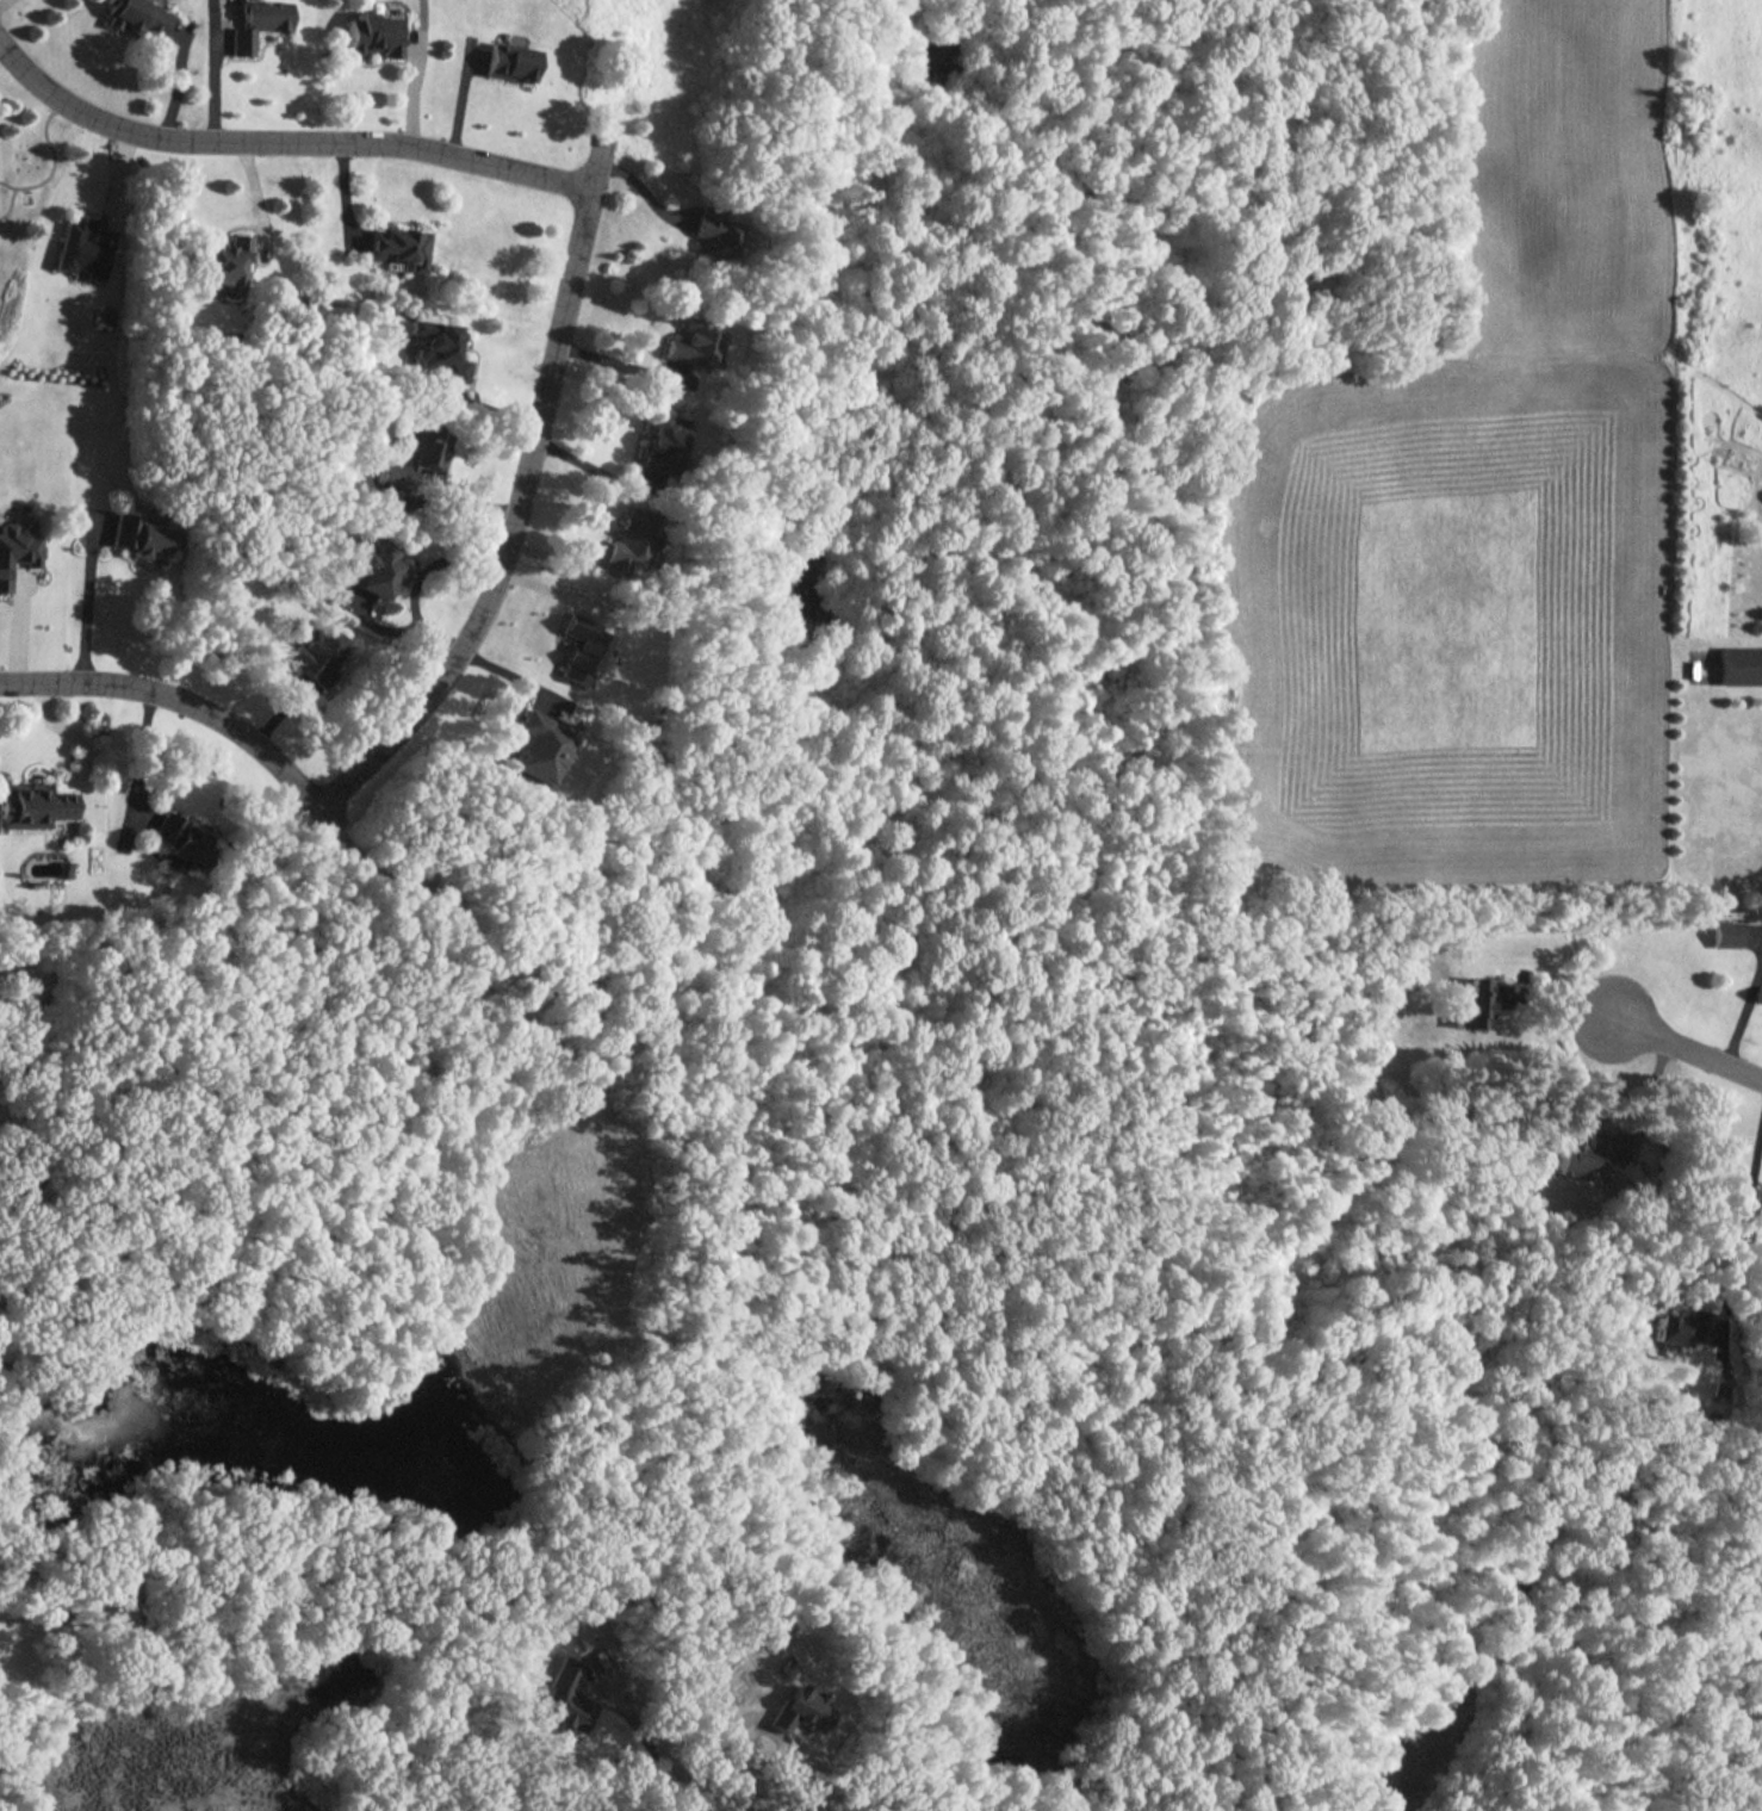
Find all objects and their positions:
building: (138, 17)
building: (372, 35)
building: (508, 62)
road: (411, 72)
road: (283, 142)
road: (258, 203)
road: (638, 204)
building: (713, 234)
building: (399, 248)
building: (222, 260)
building: (436, 352)
building: (659, 445)
building: (416, 459)
road: (597, 473)
road: (522, 498)
building: (142, 537)
building: (629, 542)
building: (17, 550)
building: (379, 571)
road: (418, 583)
road: (86, 609)
building: (583, 649)
building: (312, 653)
building: (1739, 666)
road: (192, 705)
road: (69, 736)
building: (539, 746)
road: (139, 751)
building: (33, 805)
building: (179, 839)
building: (1723, 934)
building: (1471, 1003)
road: (1745, 1012)
road: (1685, 1046)
road: (1648, 1098)
road: (1743, 1226)
building: (1717, 1322)
building: (1681, 1328)
building: (565, 1699)
building: (799, 1710)

